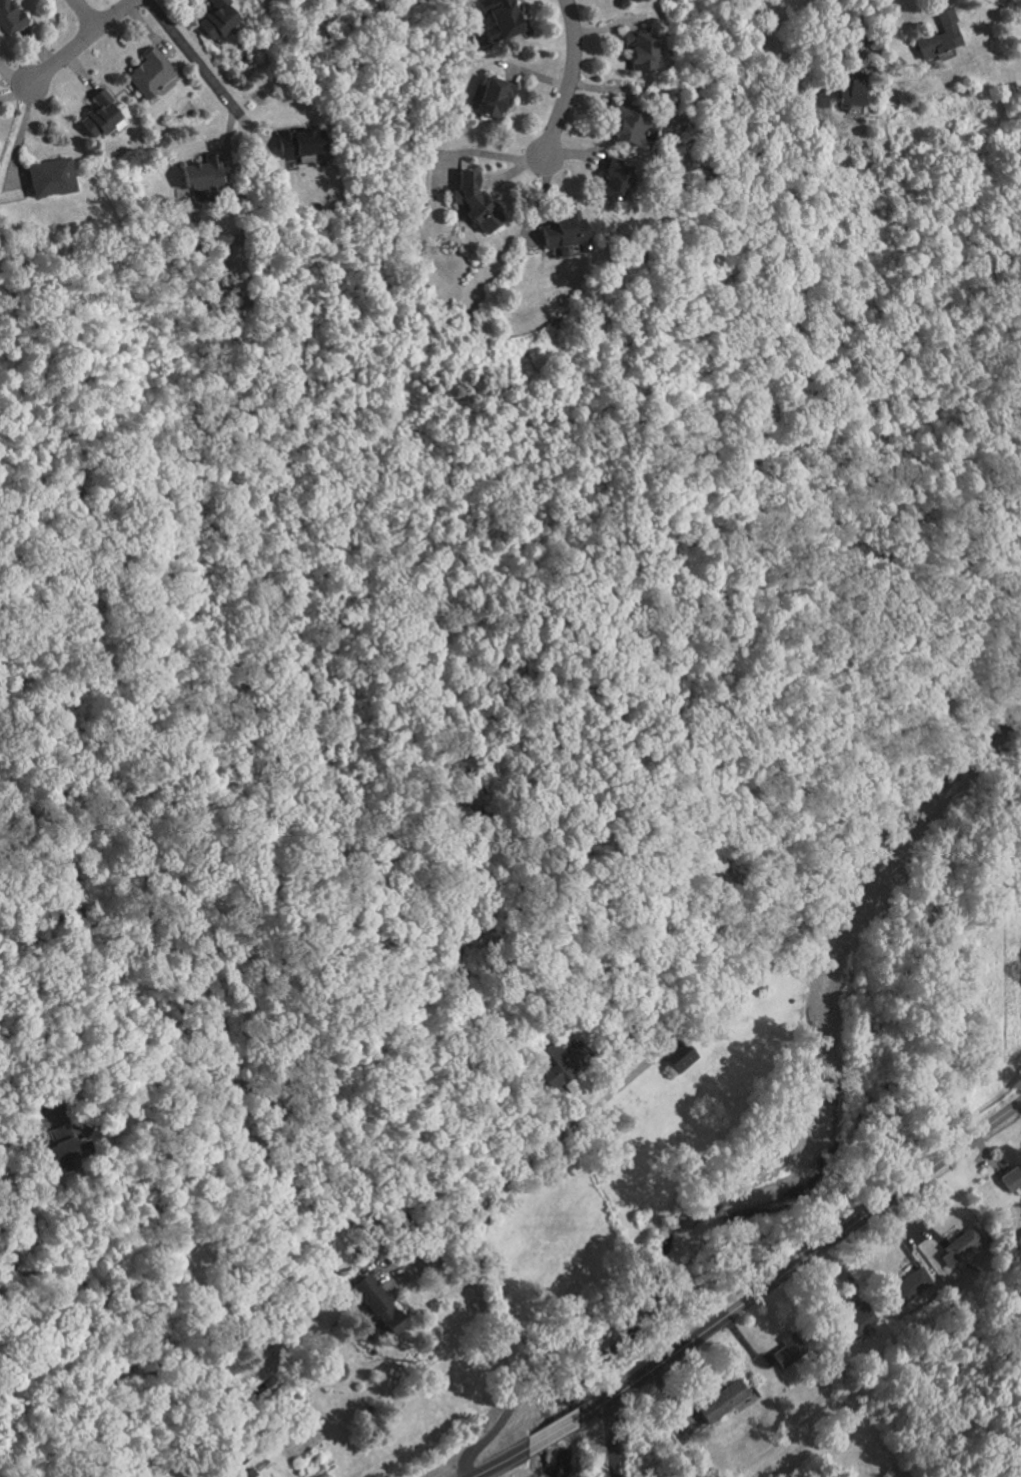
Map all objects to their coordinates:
building: (626, 0)
road: (86, 13)
building: (8, 18)
building: (497, 20)
building: (213, 23)
building: (938, 36)
road: (881, 41)
road: (79, 43)
building: (638, 52)
road: (188, 56)
building: (149, 72)
road: (570, 80)
building: (845, 95)
building: (493, 96)
building: (96, 116)
building: (627, 127)
building: (297, 144)
road: (494, 154)
building: (49, 178)
building: (611, 180)
building: (471, 201)
building: (560, 235)
building: (680, 1058)
building: (566, 1059)
road: (16, 1124)
building: (63, 1148)
building: (1011, 1178)
road: (491, 1203)
building: (962, 1244)
road: (815, 1255)
building: (912, 1284)
building: (375, 1303)
building: (857, 1320)
building: (787, 1350)
building: (720, 1401)
road: (517, 1424)
road: (608, 1441)

